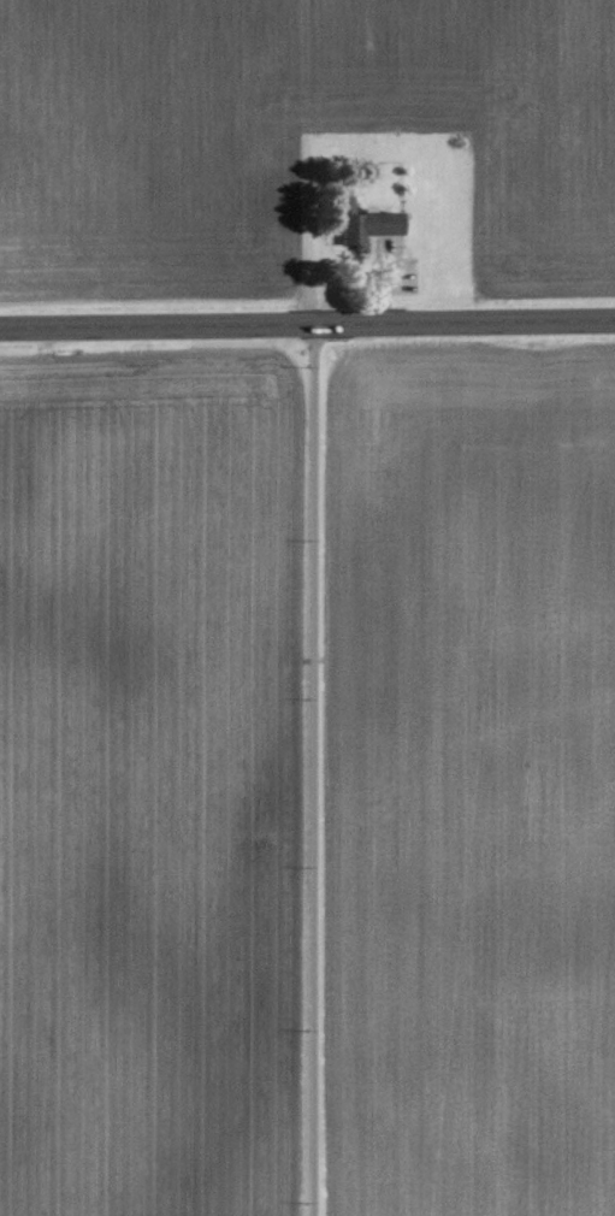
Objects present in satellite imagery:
building: (371, 223)
road: (307, 325)
road: (313, 771)

